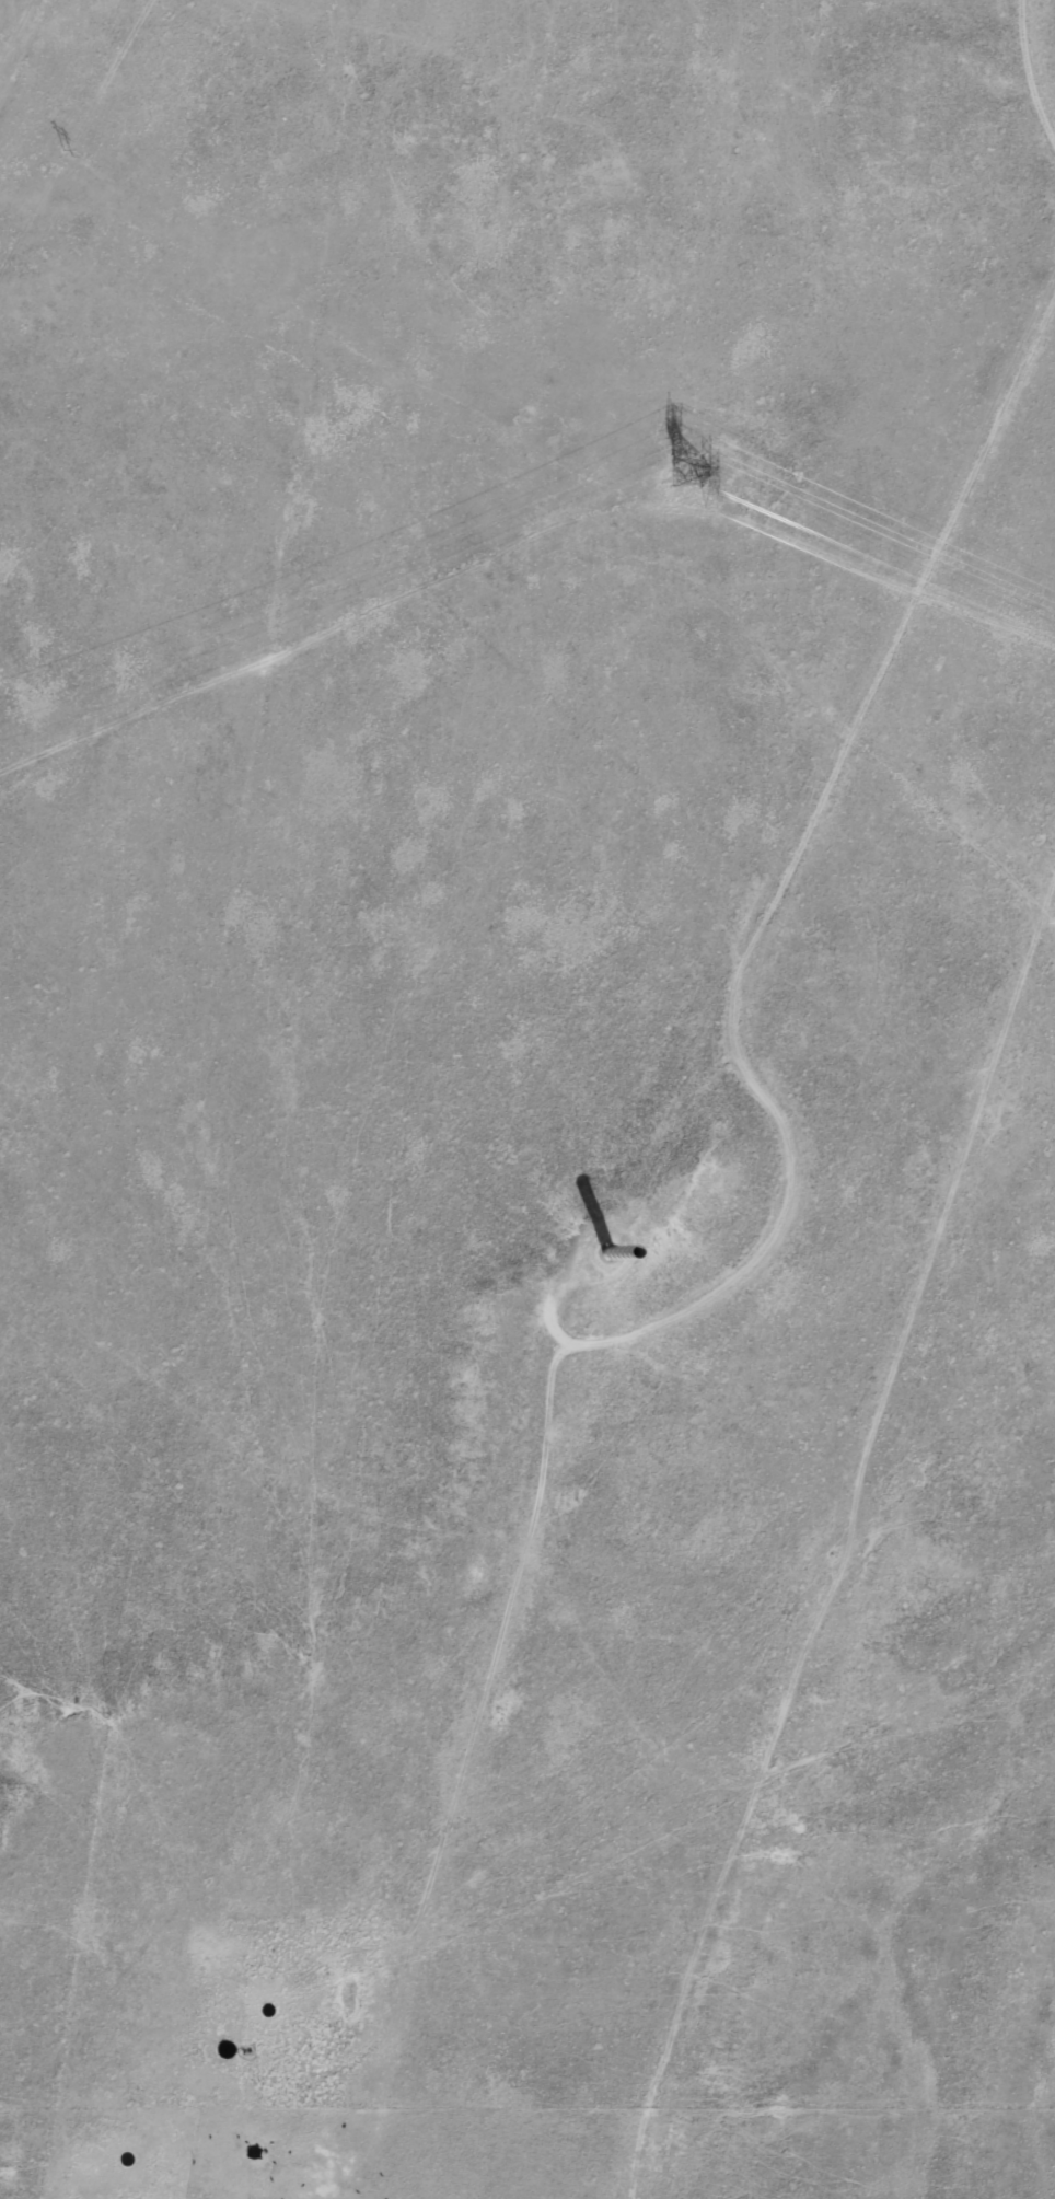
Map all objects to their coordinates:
road: (18, 20)
power tower: (65, 154)
road: (1046, 184)
power tower: (686, 471)
road: (797, 759)
chimney: (600, 1254)
road: (72, 2155)

